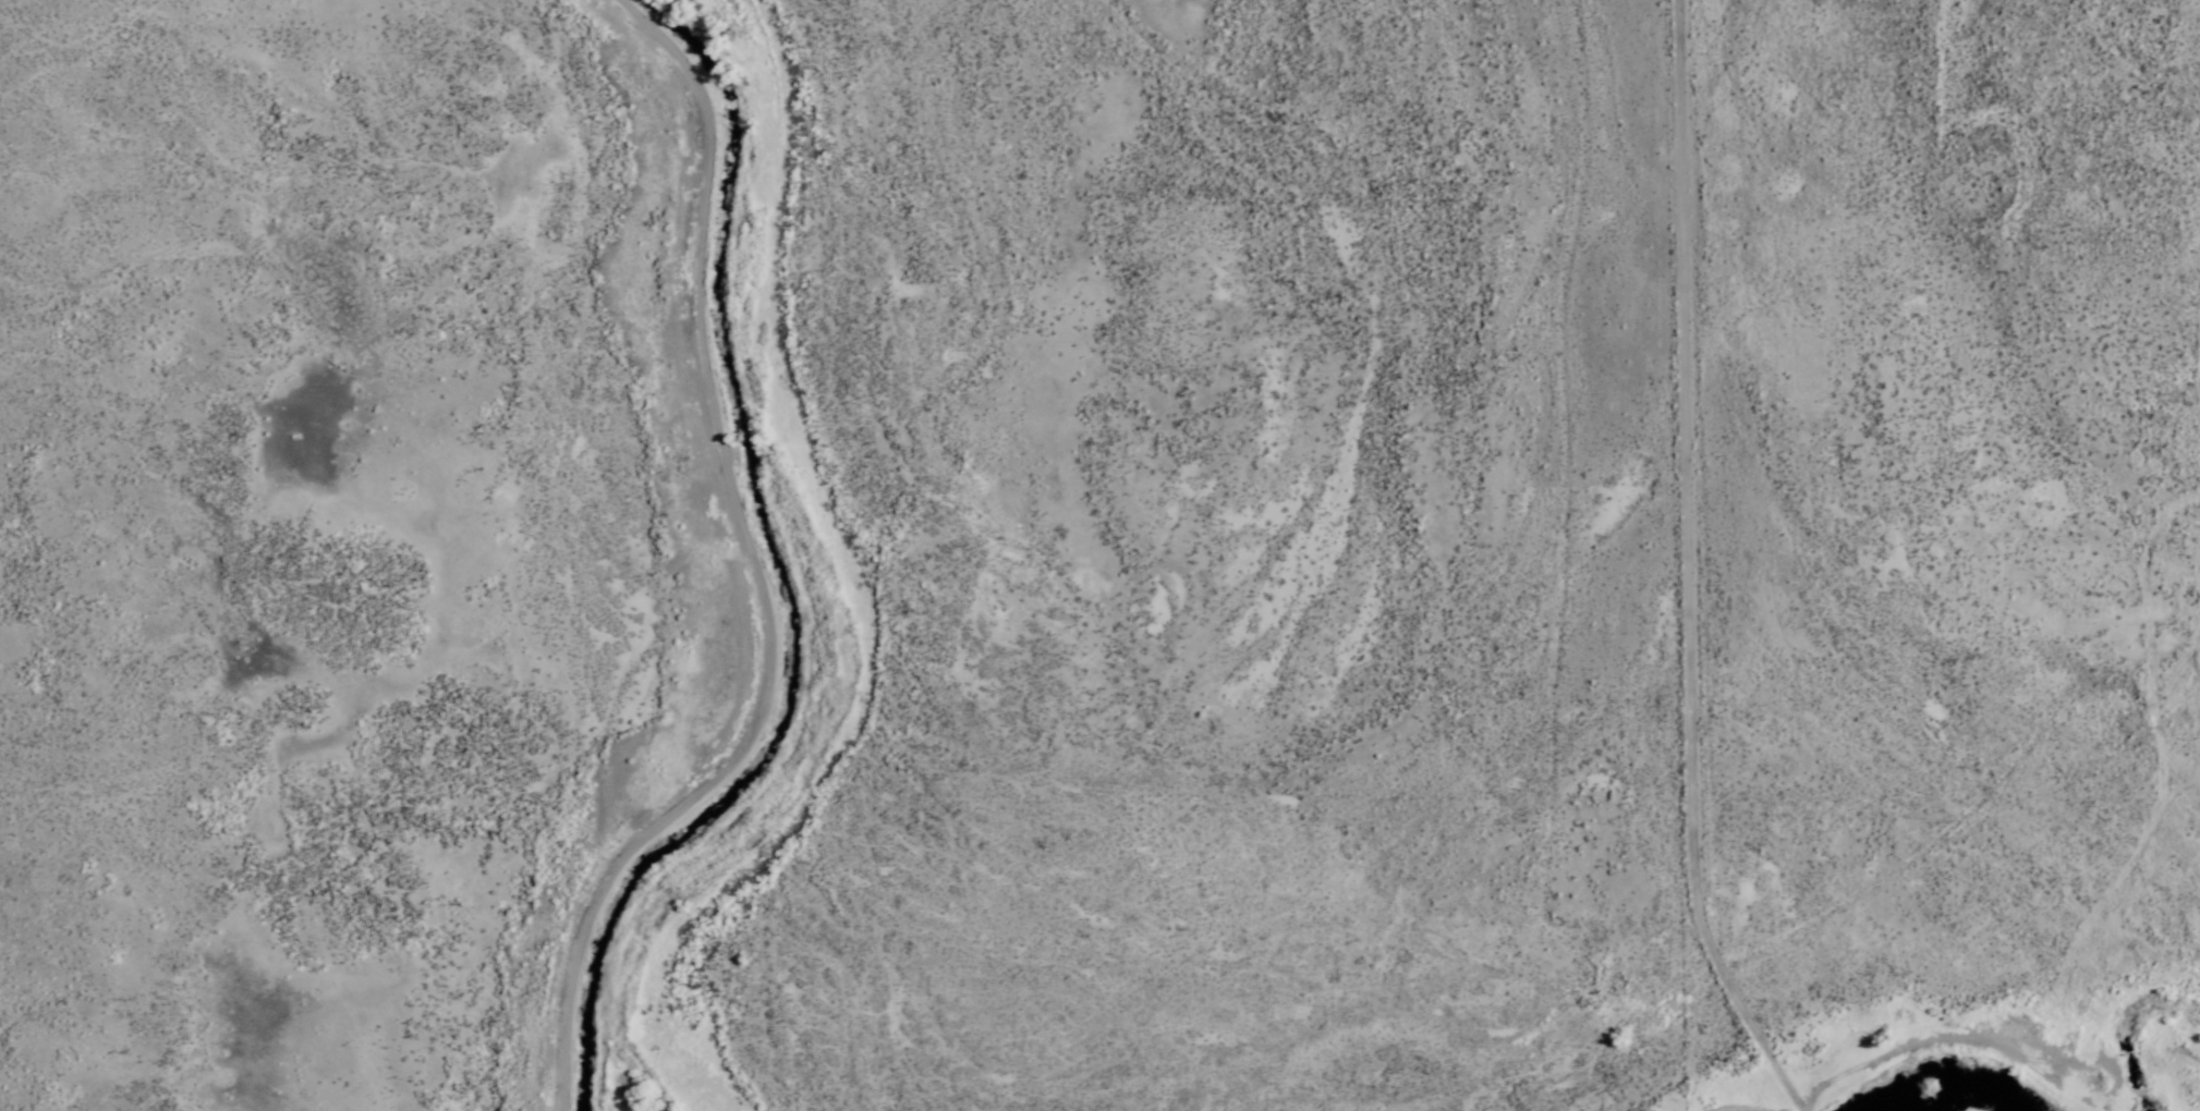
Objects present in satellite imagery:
road: (1690, 567)
road: (736, 569)

